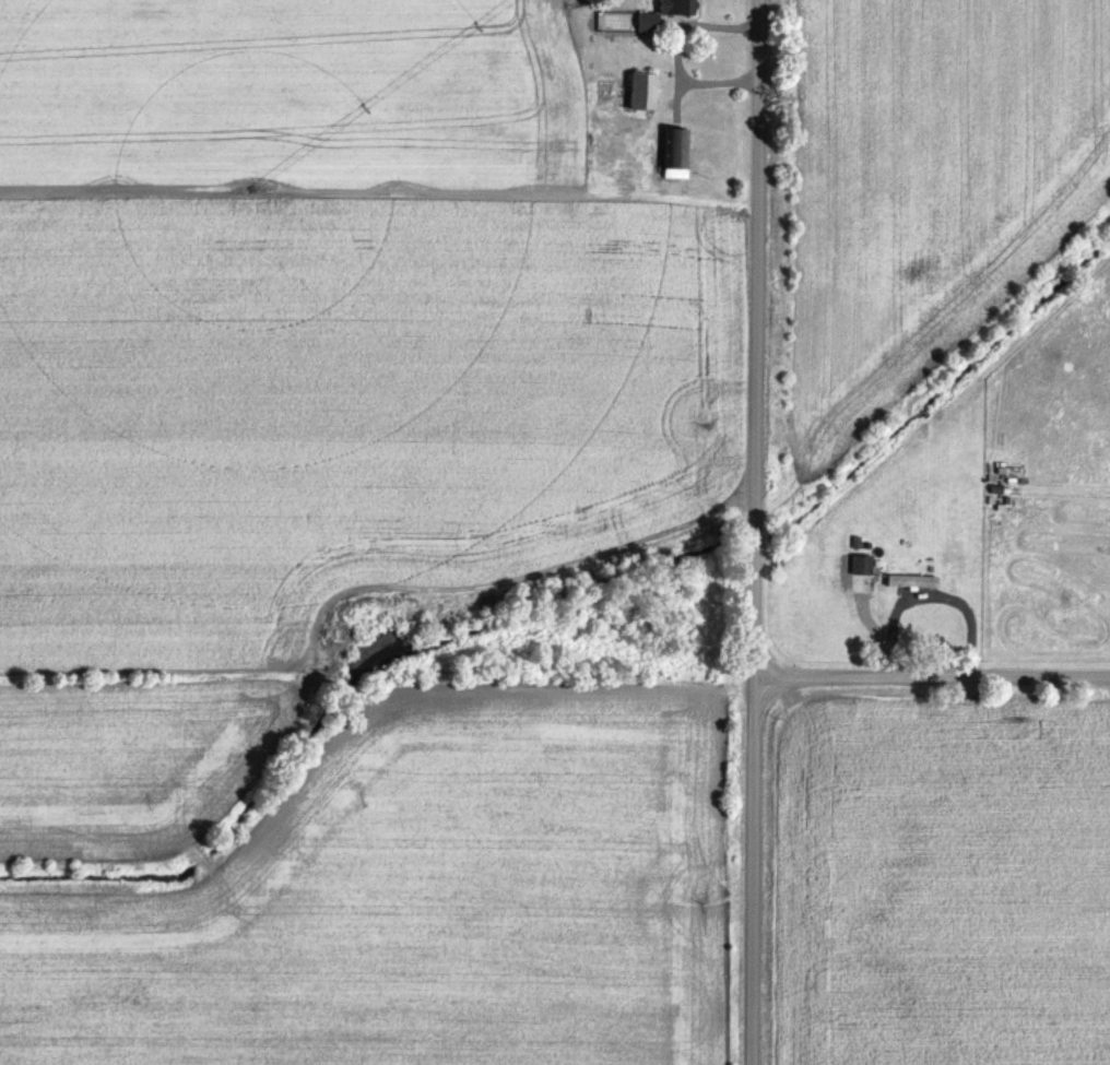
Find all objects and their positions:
building: (649, 25)
building: (645, 93)
building: (676, 155)
building: (908, 518)
road: (754, 532)
building: (910, 581)
building: (1058, 613)
road: (933, 673)

